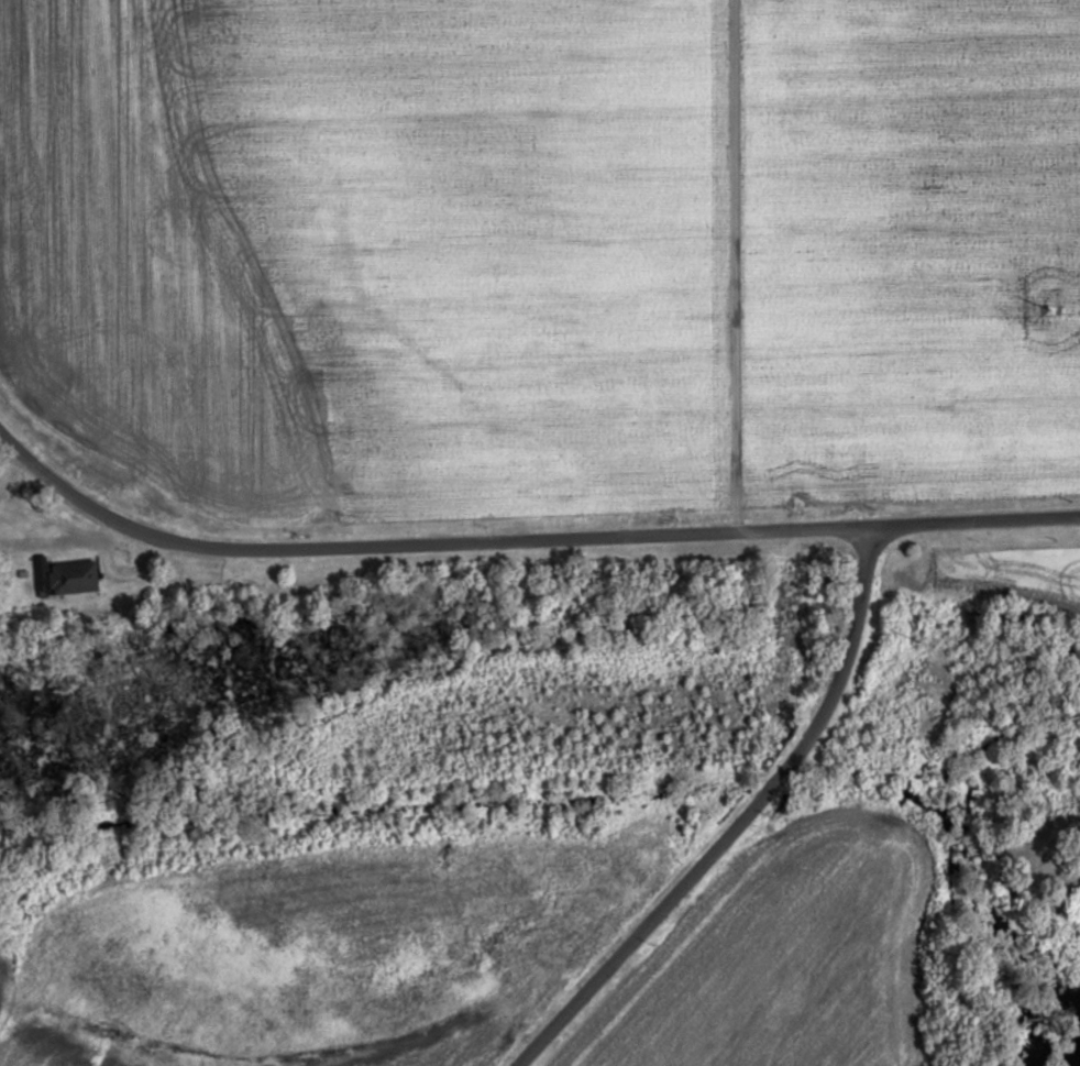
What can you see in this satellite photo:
power tower: (1051, 309)
road: (522, 540)
building: (68, 579)
power tower: (921, 641)
road: (737, 821)

